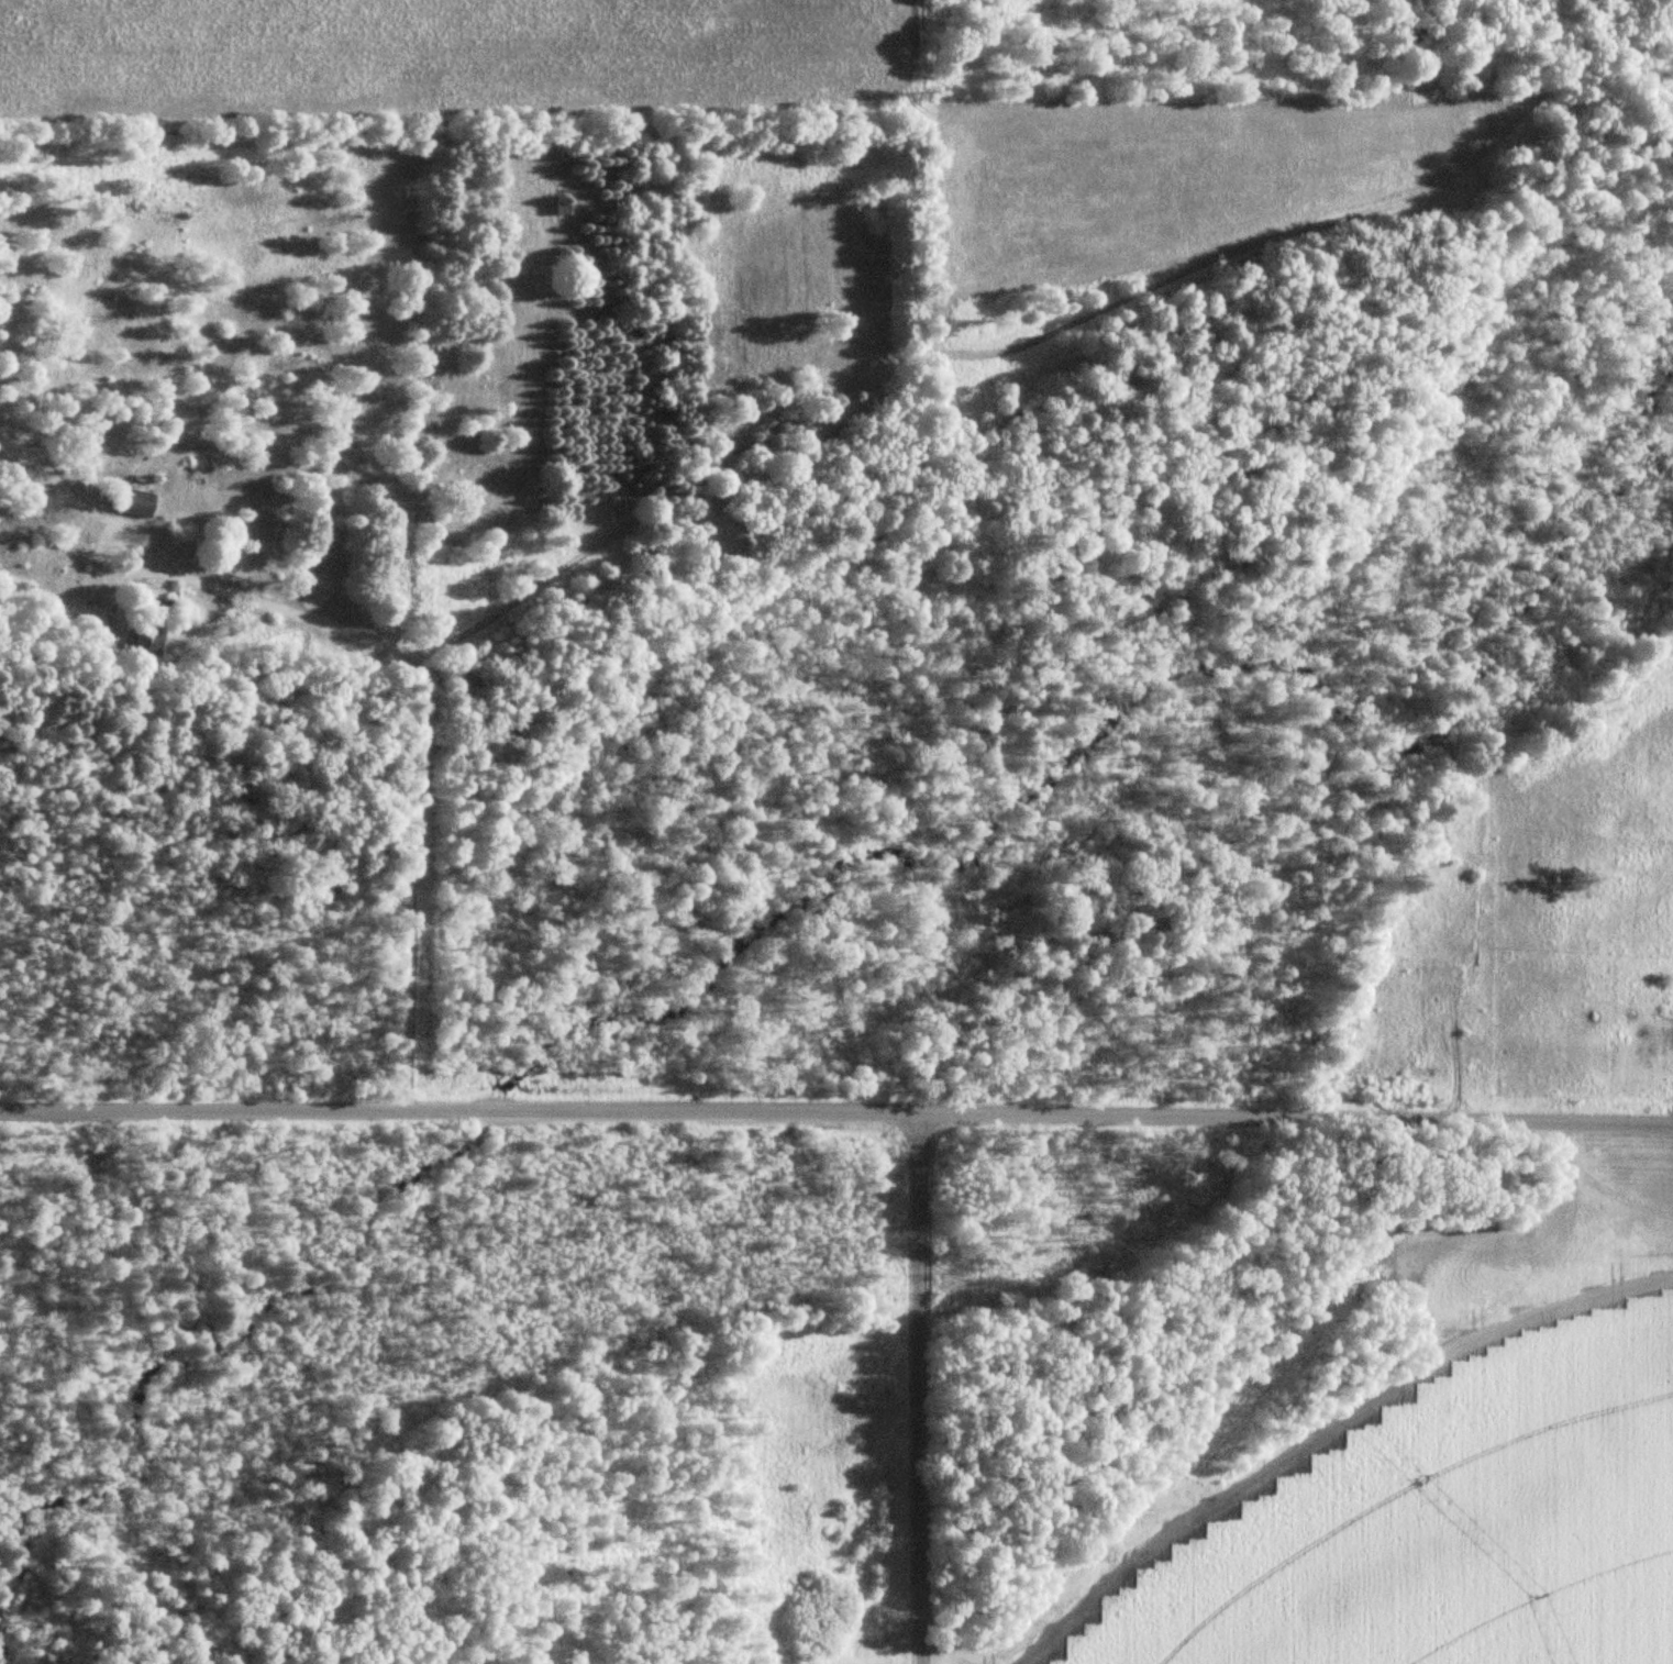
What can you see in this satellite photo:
road: (182, 567)
road: (418, 879)
road: (835, 1109)
road: (923, 1386)

